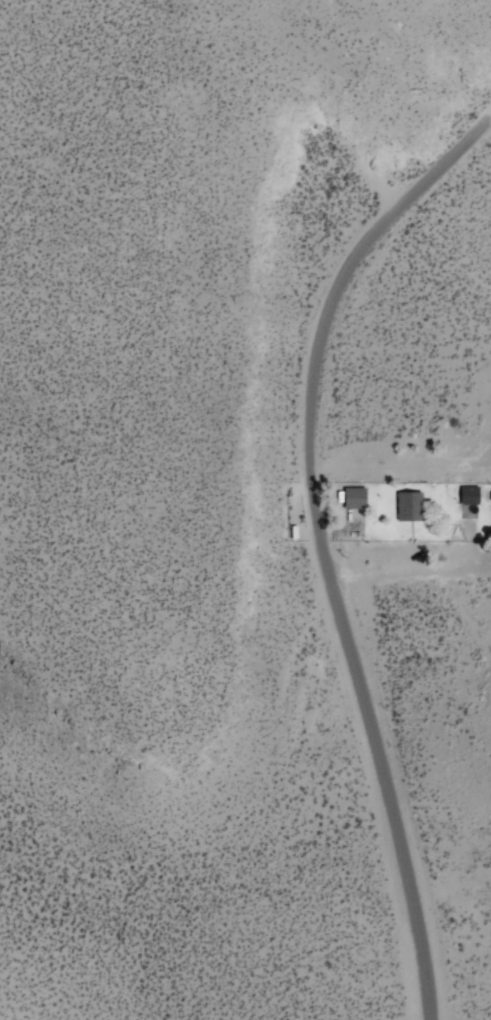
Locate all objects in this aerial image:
road: (478, 136)
building: (467, 495)
building: (354, 499)
building: (408, 507)
road: (324, 566)

